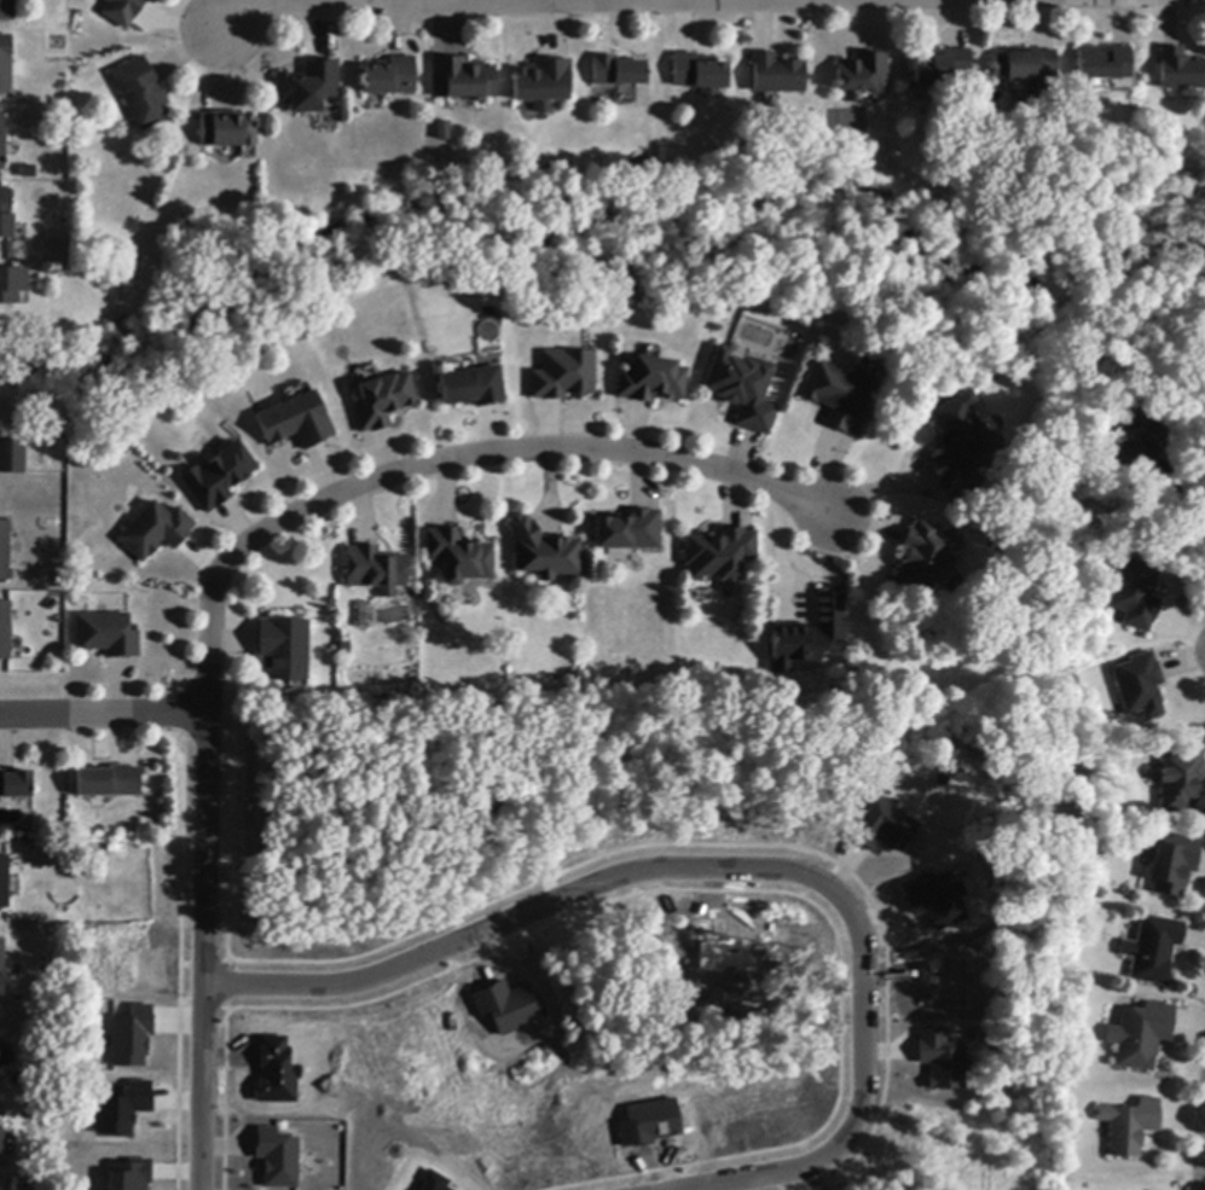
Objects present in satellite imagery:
road: (386, 2)
building: (7, 11)
building: (122, 11)
building: (1103, 64)
building: (938, 65)
building: (7, 66)
building: (1026, 69)
building: (1180, 71)
building: (616, 72)
building: (697, 72)
building: (863, 74)
building: (776, 75)
building: (389, 77)
building: (462, 80)
building: (541, 83)
building: (308, 87)
building: (140, 93)
building: (226, 130)
building: (441, 132)
building: (1, 141)
building: (6, 215)
building: (12, 285)
building: (562, 376)
building: (651, 382)
building: (471, 388)
building: (742, 389)
building: (839, 396)
building: (382, 401)
building: (296, 422)
building: (958, 442)
building: (1136, 443)
building: (12, 457)
road: (439, 459)
building: (219, 476)
road: (1186, 519)
building: (155, 532)
building: (628, 532)
building: (5, 550)
building: (544, 551)
building: (719, 555)
building: (459, 557)
building: (921, 557)
building: (375, 570)
building: (1136, 597)
building: (1030, 600)
building: (364, 608)
building: (5, 629)
building: (108, 635)
building: (807, 637)
park: (948, 640)
building: (283, 649)
park: (1200, 652)
building: (1140, 686)
road: (98, 715)
building: (1181, 780)
building: (109, 782)
building: (15, 784)
building: (880, 824)
road: (738, 847)
building: (1174, 865)
building: (4, 882)
building: (933, 898)
road: (192, 951)
building: (1153, 951)
building: (1, 966)
building: (506, 1005)
building: (1140, 1035)
building: (131, 1037)
building: (939, 1060)
building: (122, 1105)
building: (1129, 1127)
building: (1, 1140)
building: (277, 1156)
building: (128, 1174)
road: (1204, 1176)
building: (431, 1182)

